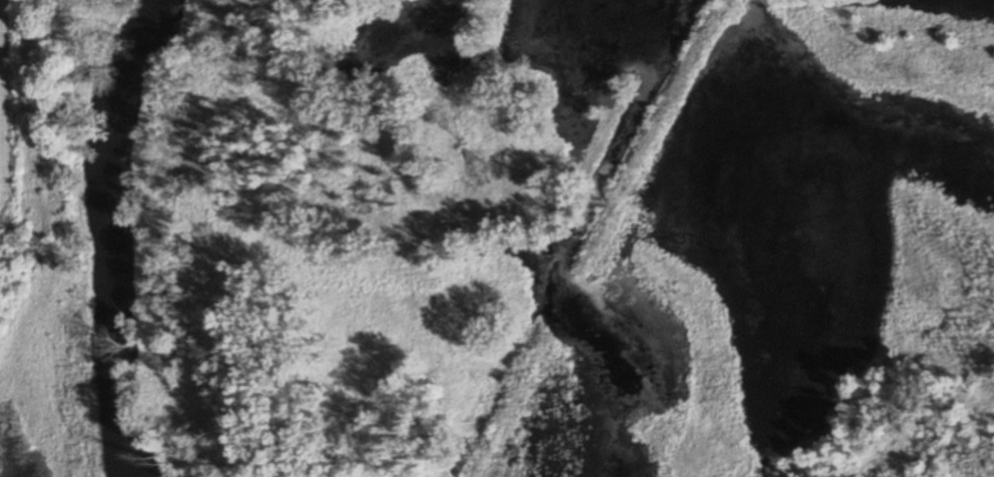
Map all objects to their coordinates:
river: (111, 234)

